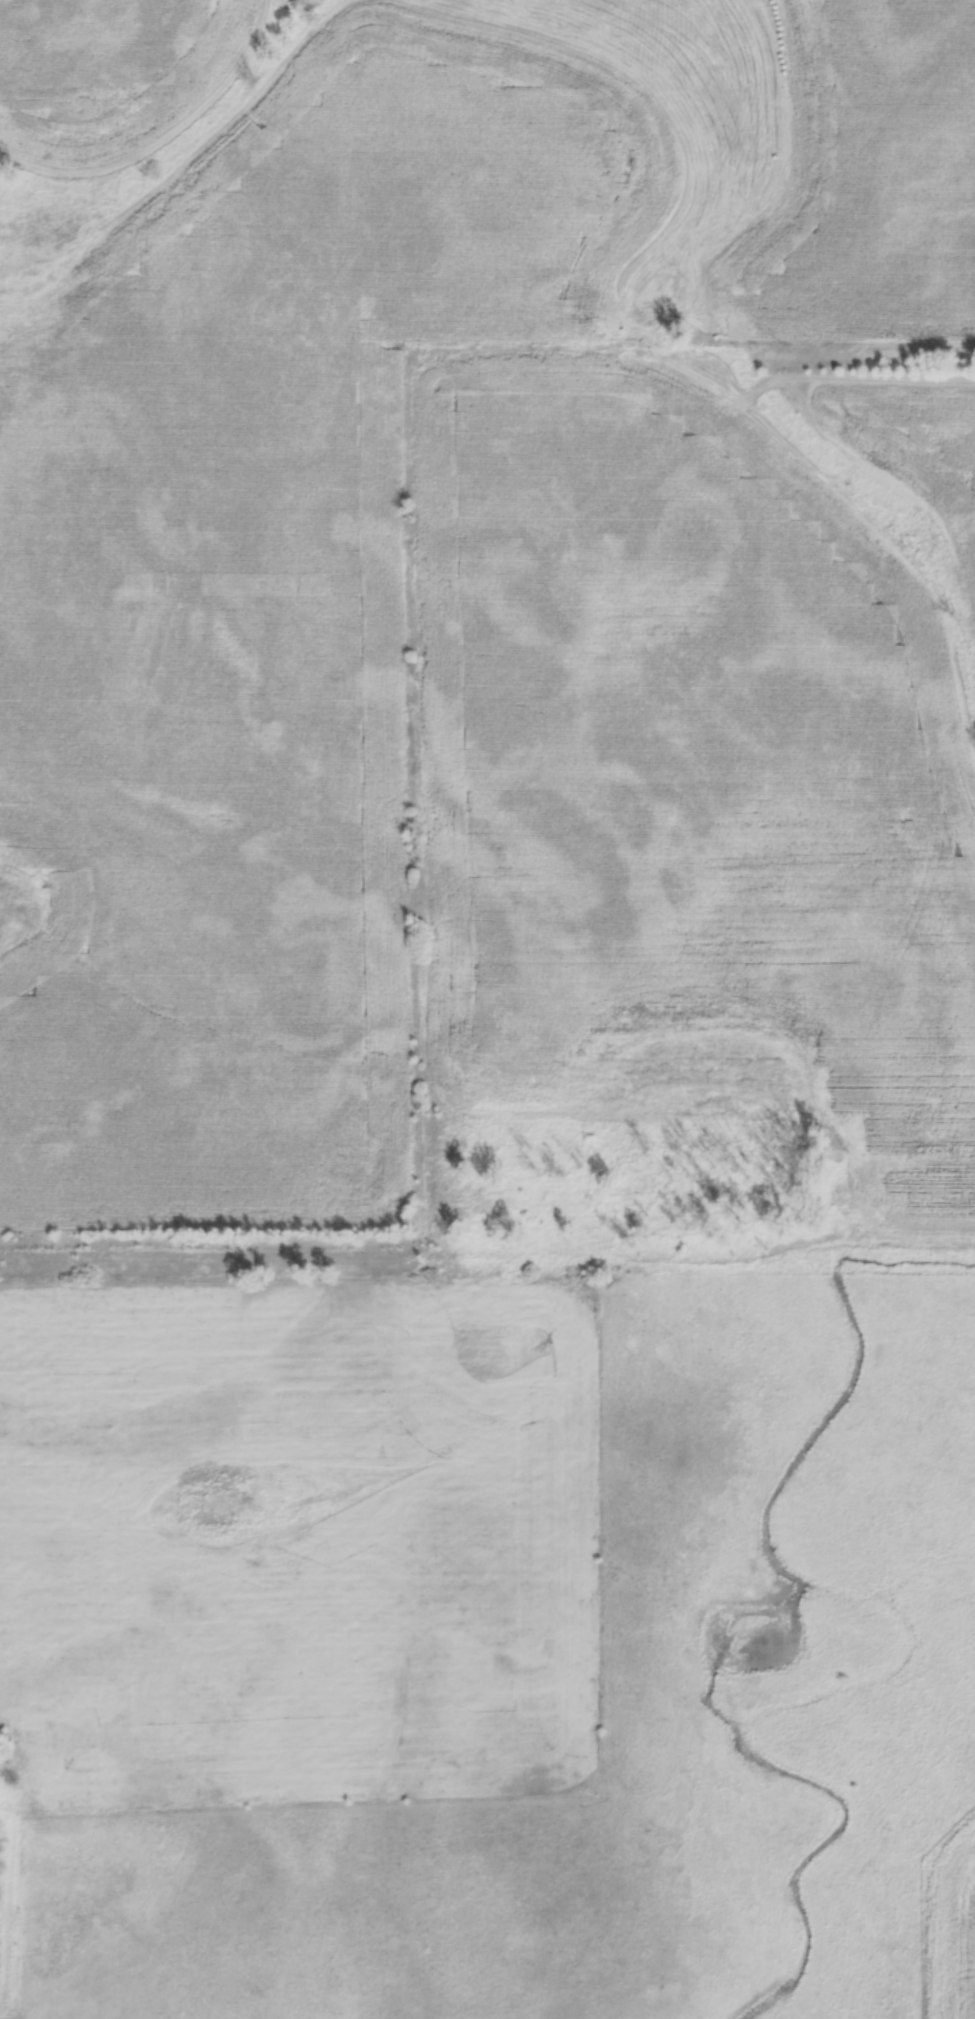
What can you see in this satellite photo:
crop: (337, 489)
crop: (712, 764)
crop: (298, 1546)

